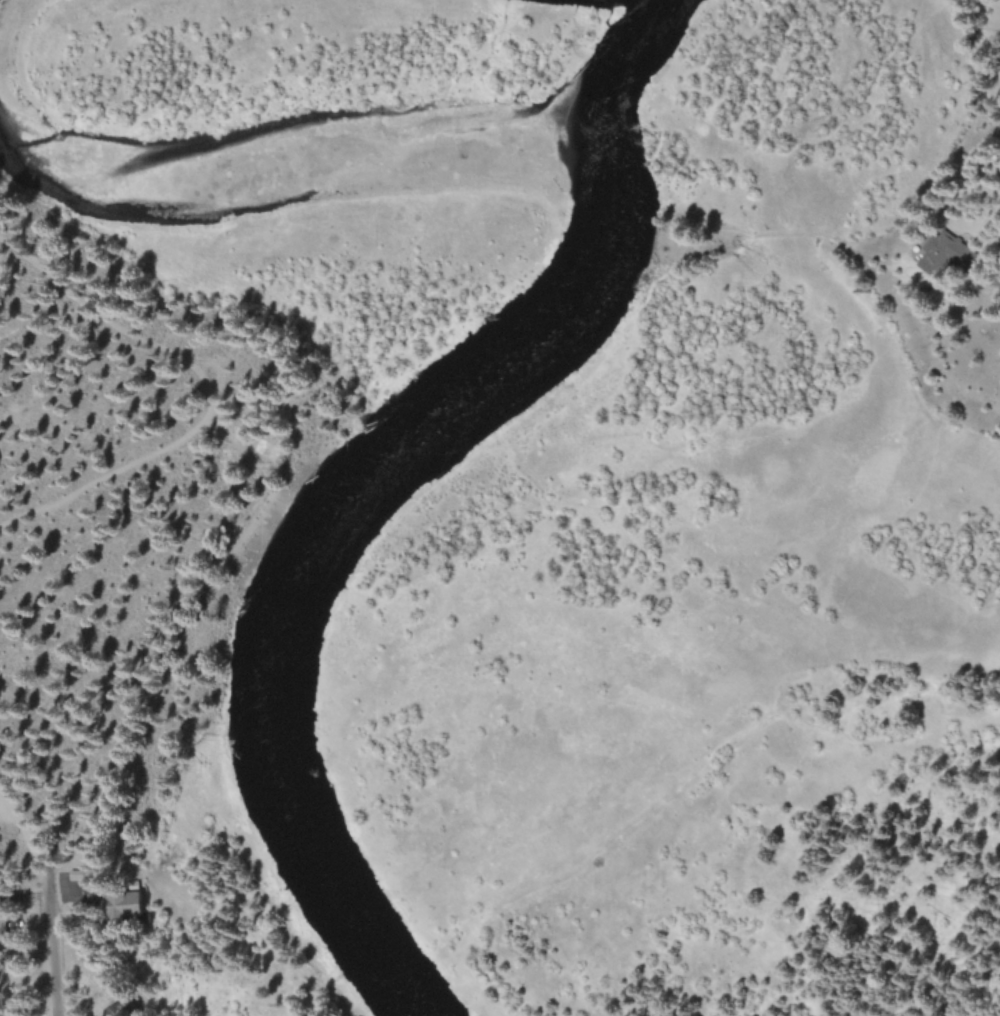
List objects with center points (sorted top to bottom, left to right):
road: (836, 240)
building: (956, 250)
road: (211, 393)
road: (230, 439)
river: (371, 477)
road: (22, 830)
building: (128, 902)
road: (49, 944)

